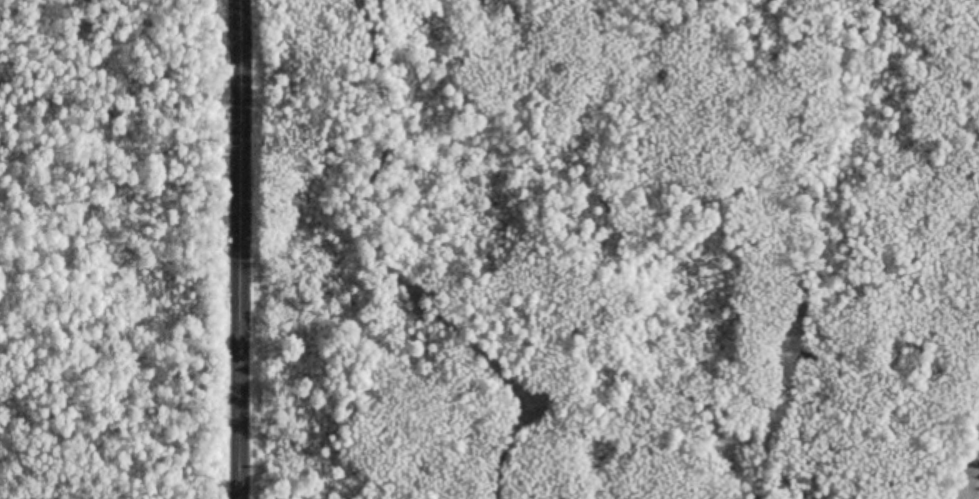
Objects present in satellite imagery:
road: (243, 249)

